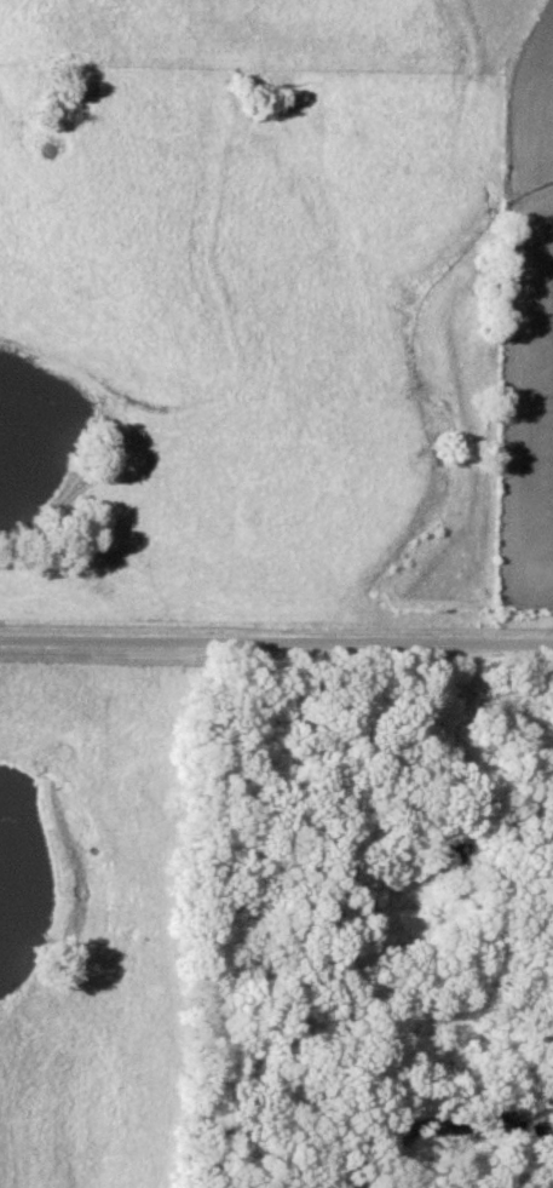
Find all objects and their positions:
road: (276, 644)

